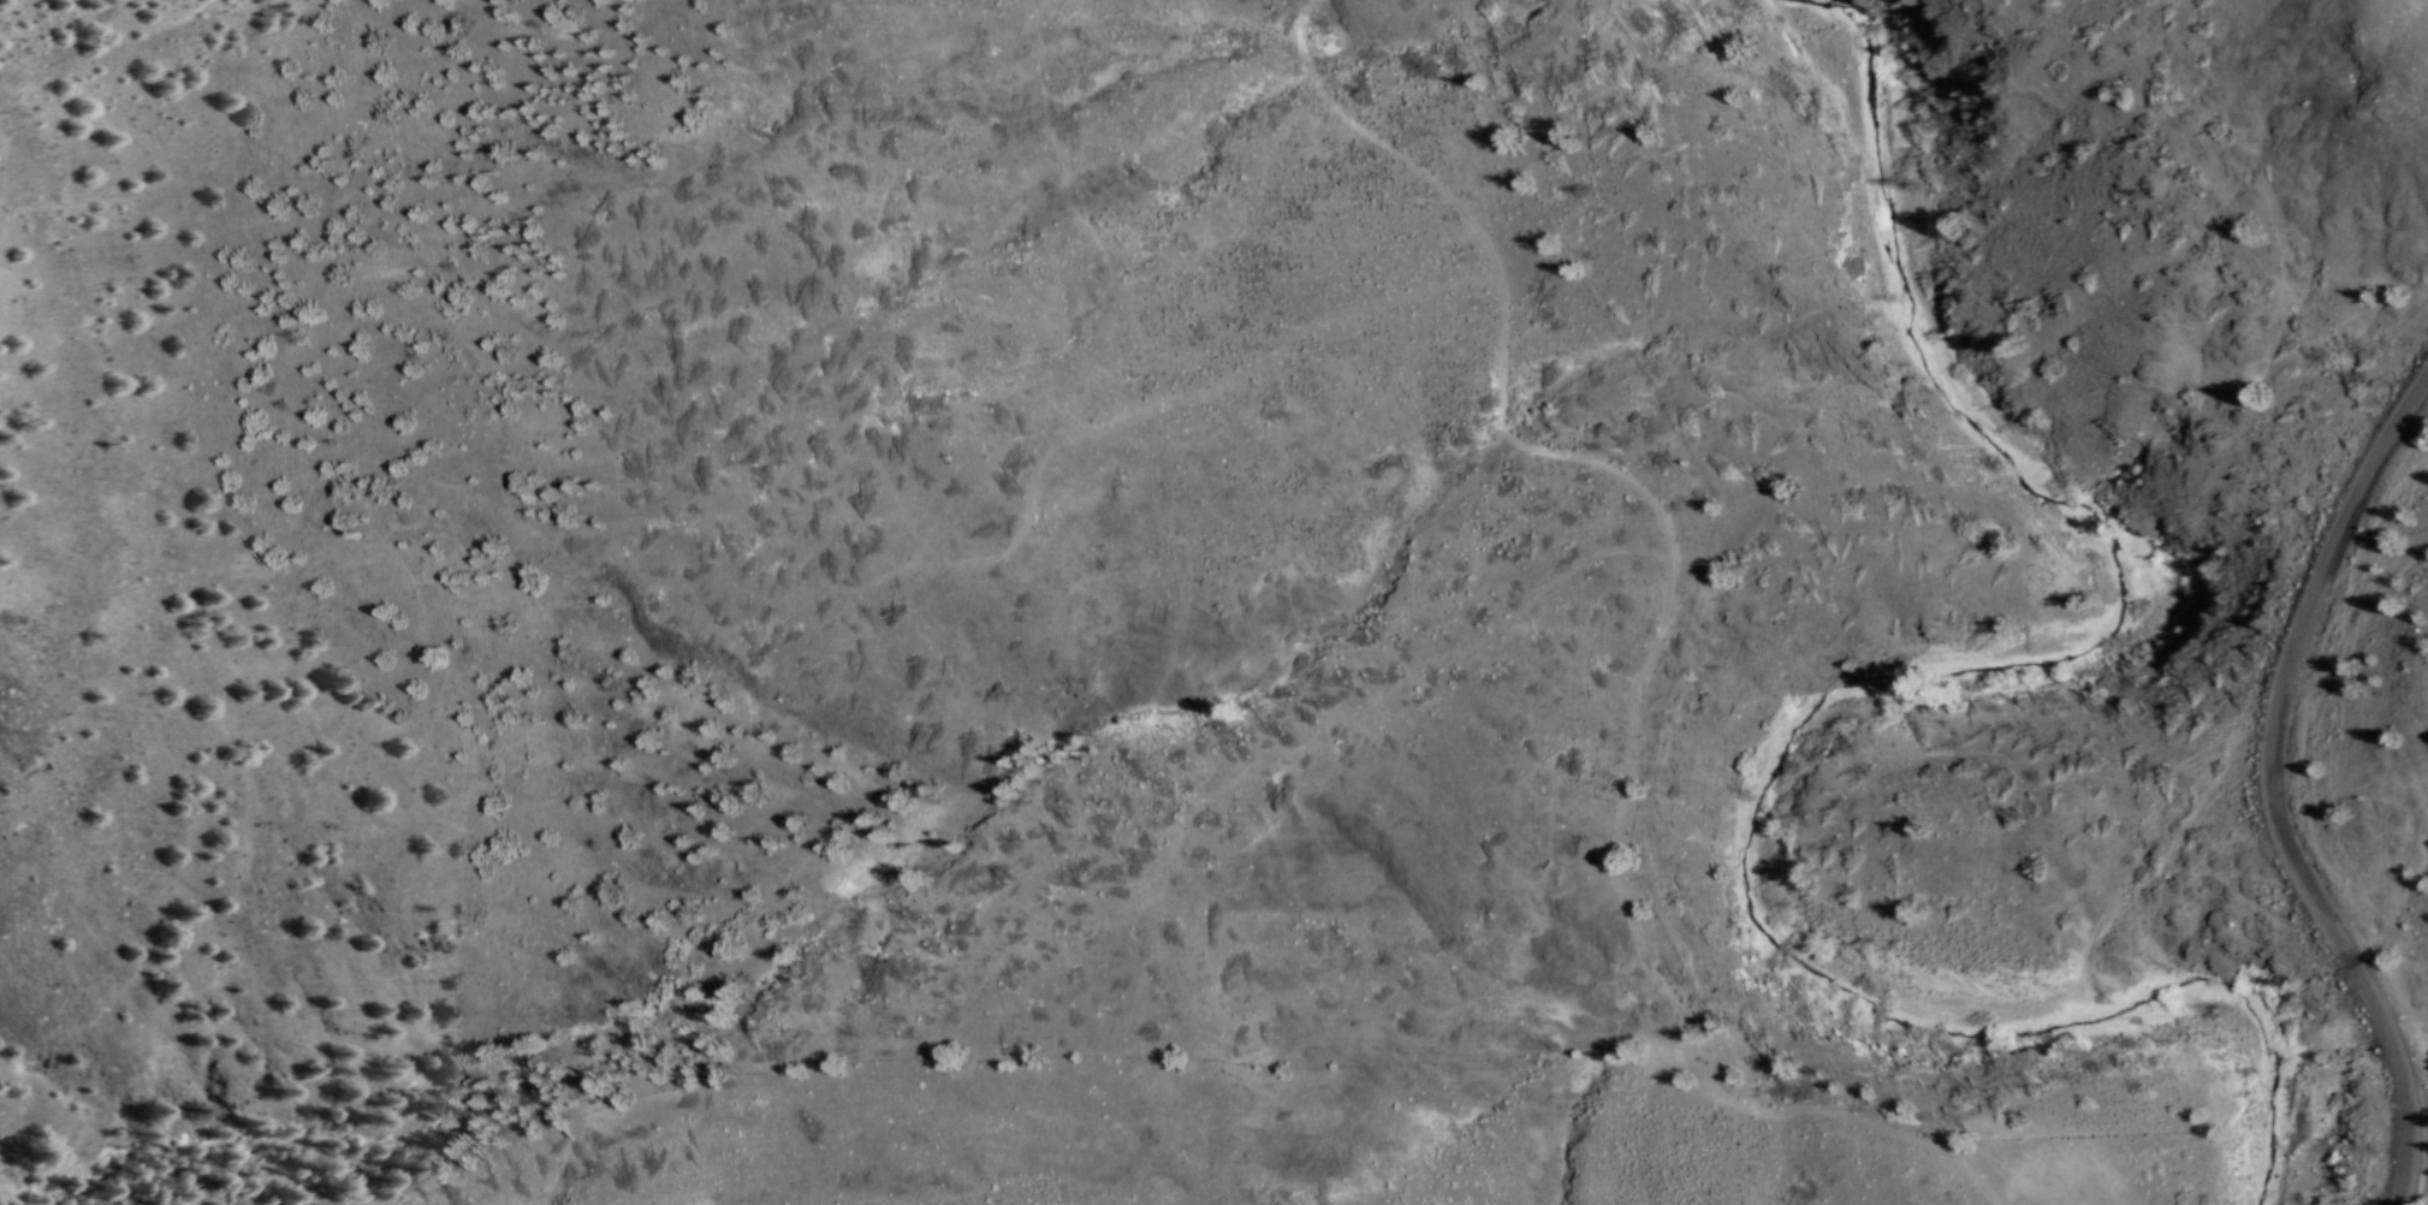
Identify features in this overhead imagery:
road: (2263, 743)

